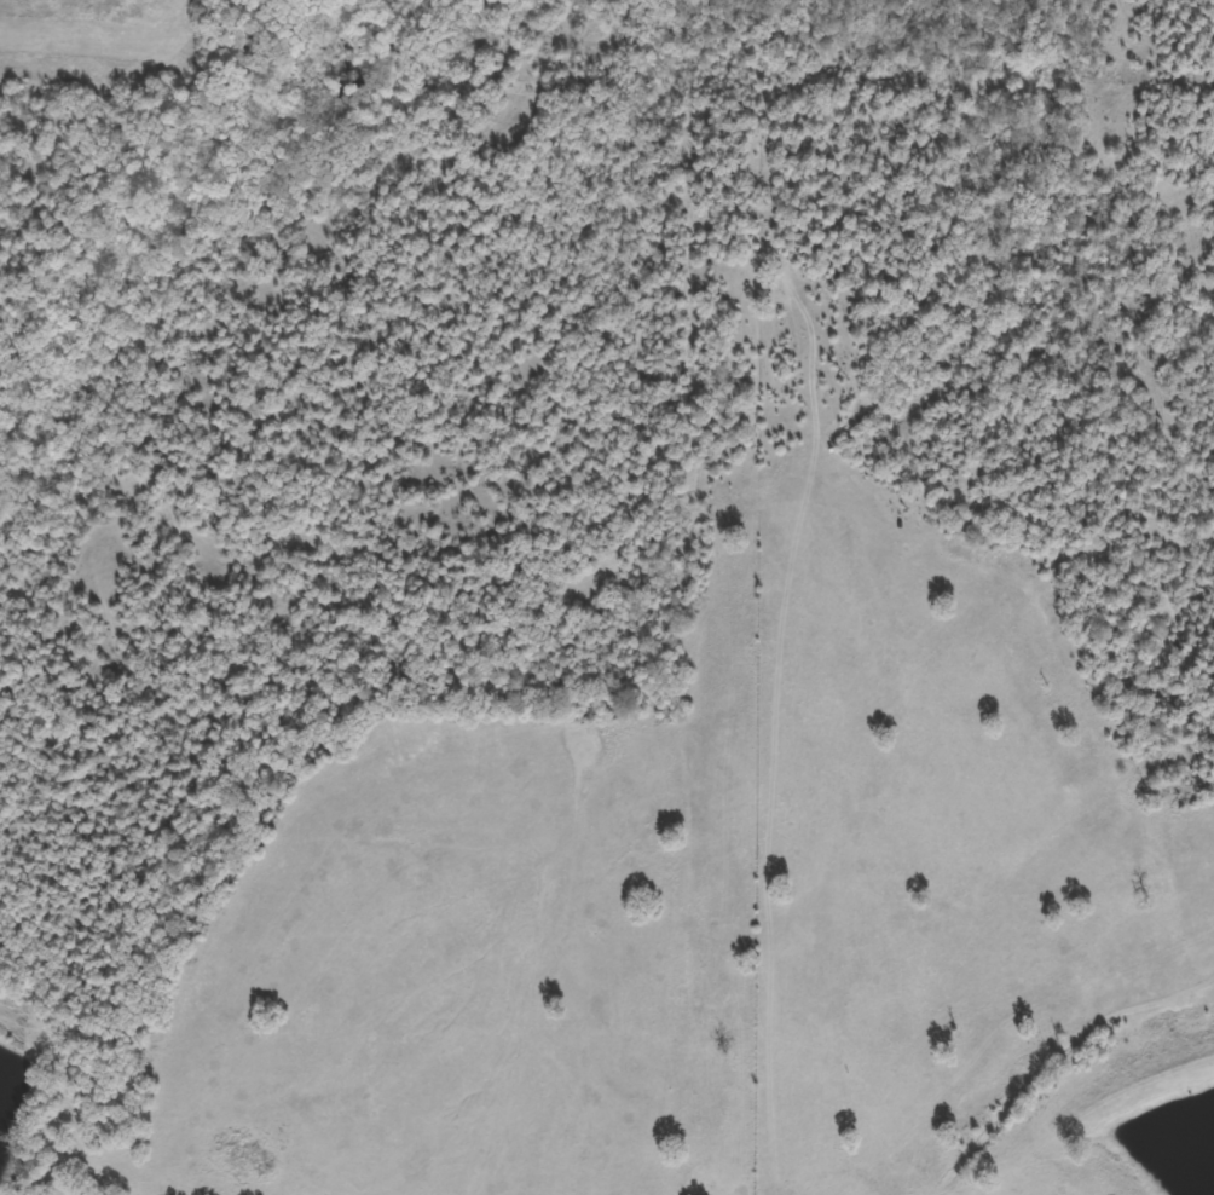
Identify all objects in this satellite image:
road: (1046, 1060)

